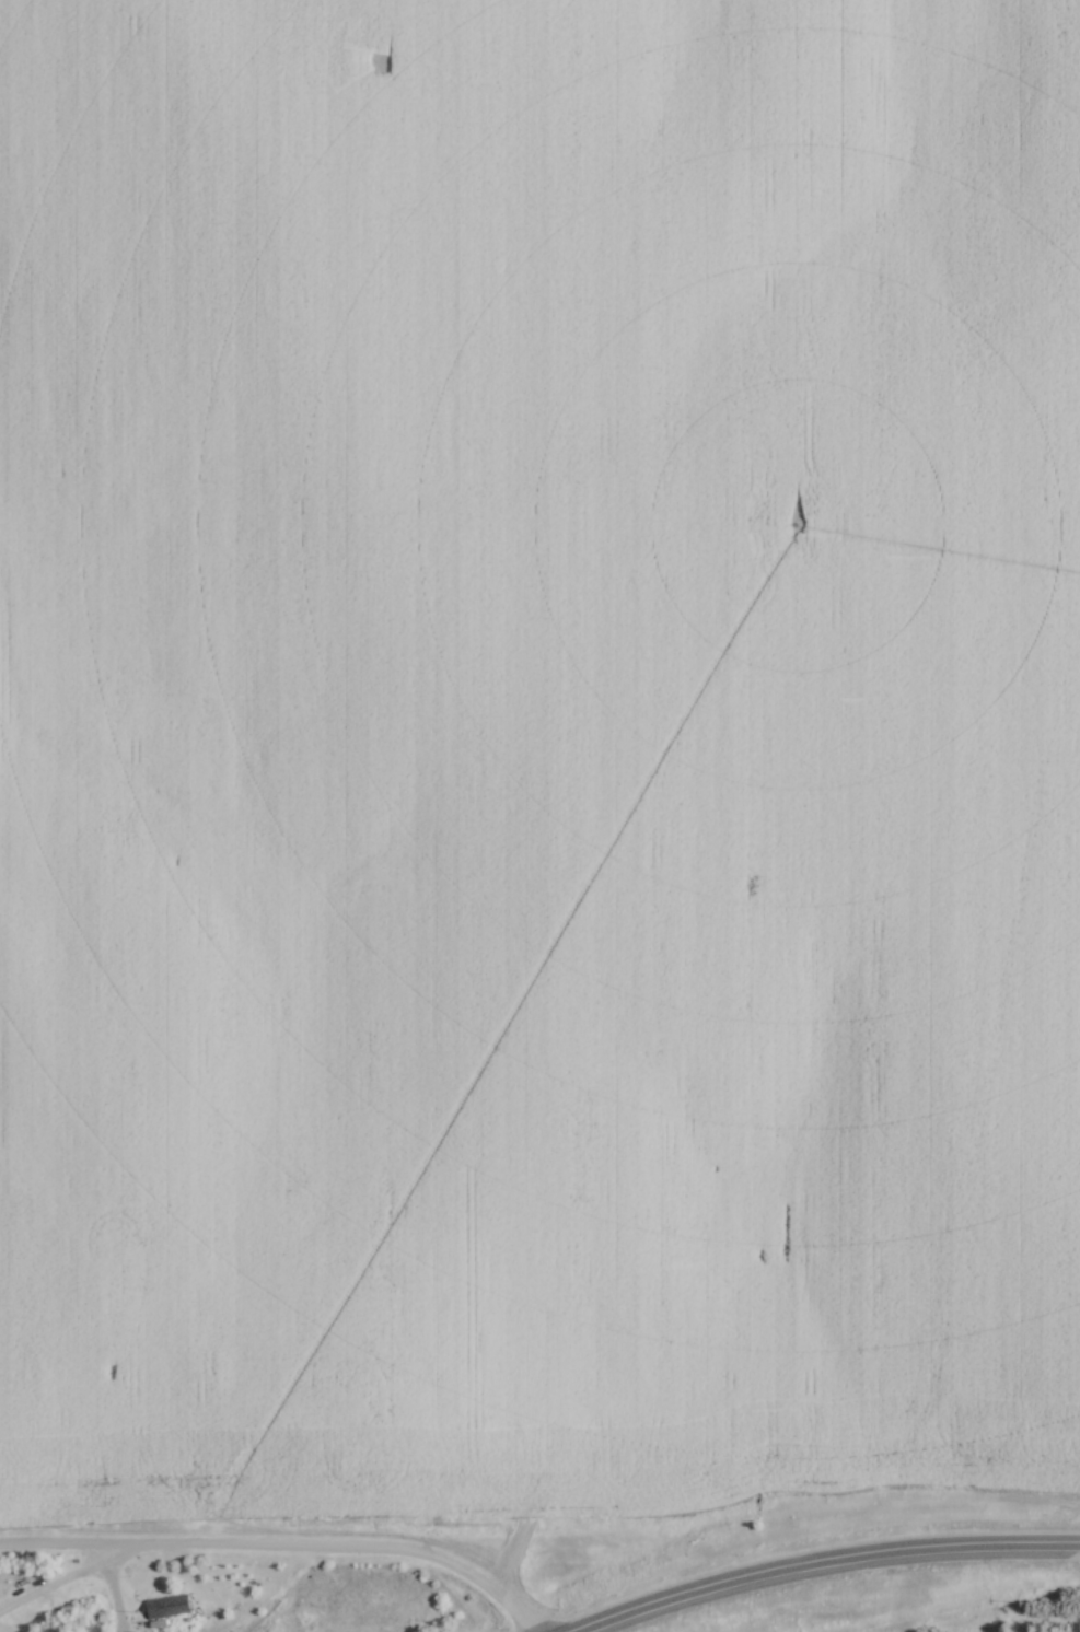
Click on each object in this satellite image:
road: (265, 1554)
road: (823, 1563)
building: (167, 1606)

